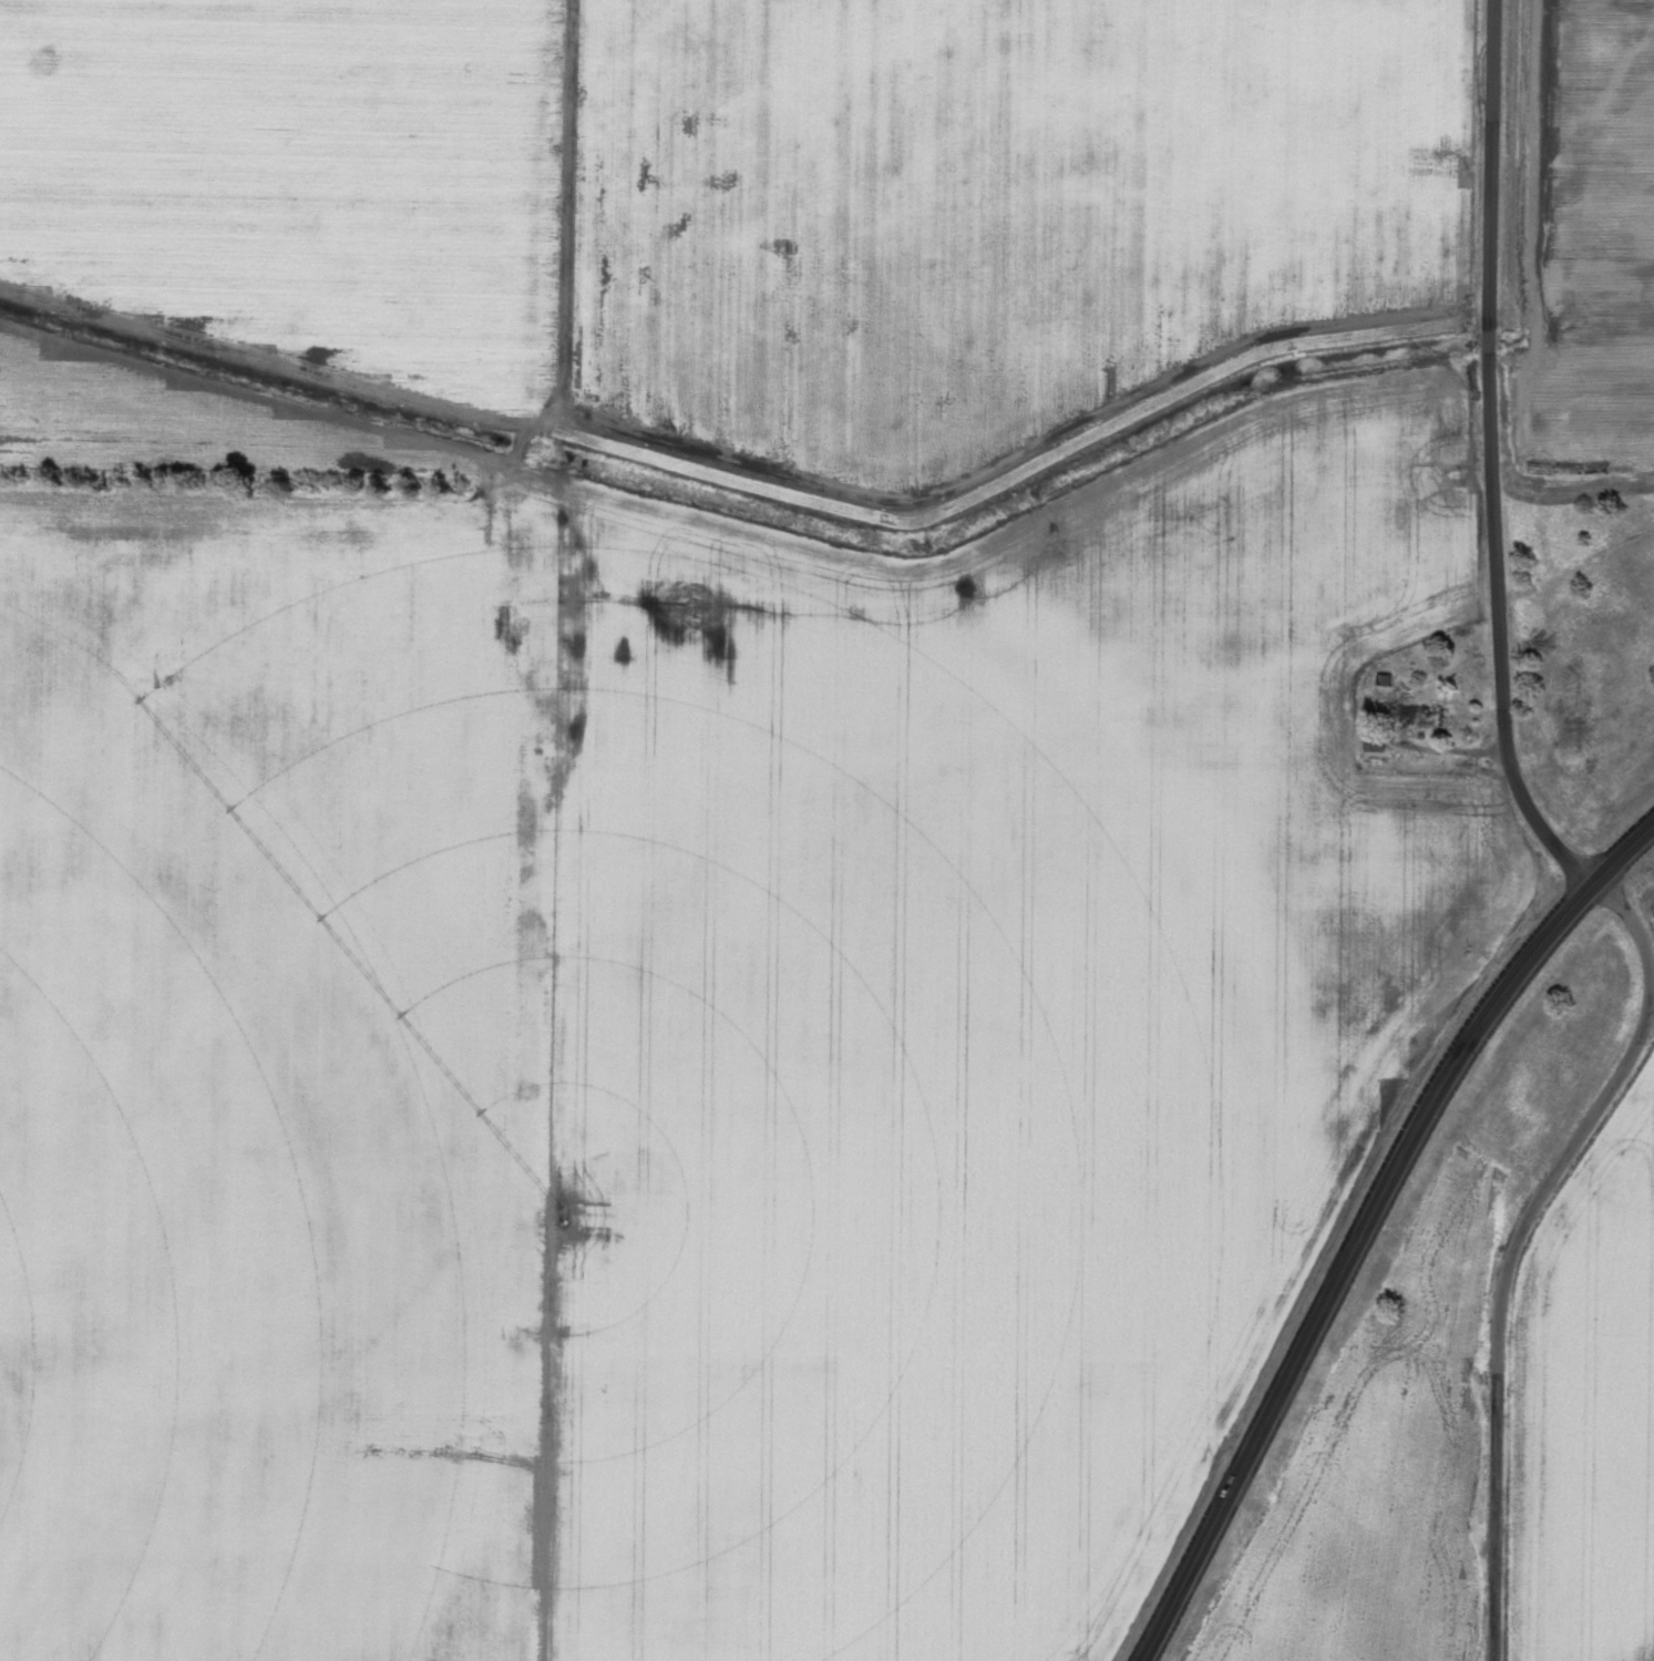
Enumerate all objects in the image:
road: (1496, 297)
road: (1512, 750)
road: (1633, 905)
road: (1364, 1219)
road: (1503, 1319)

